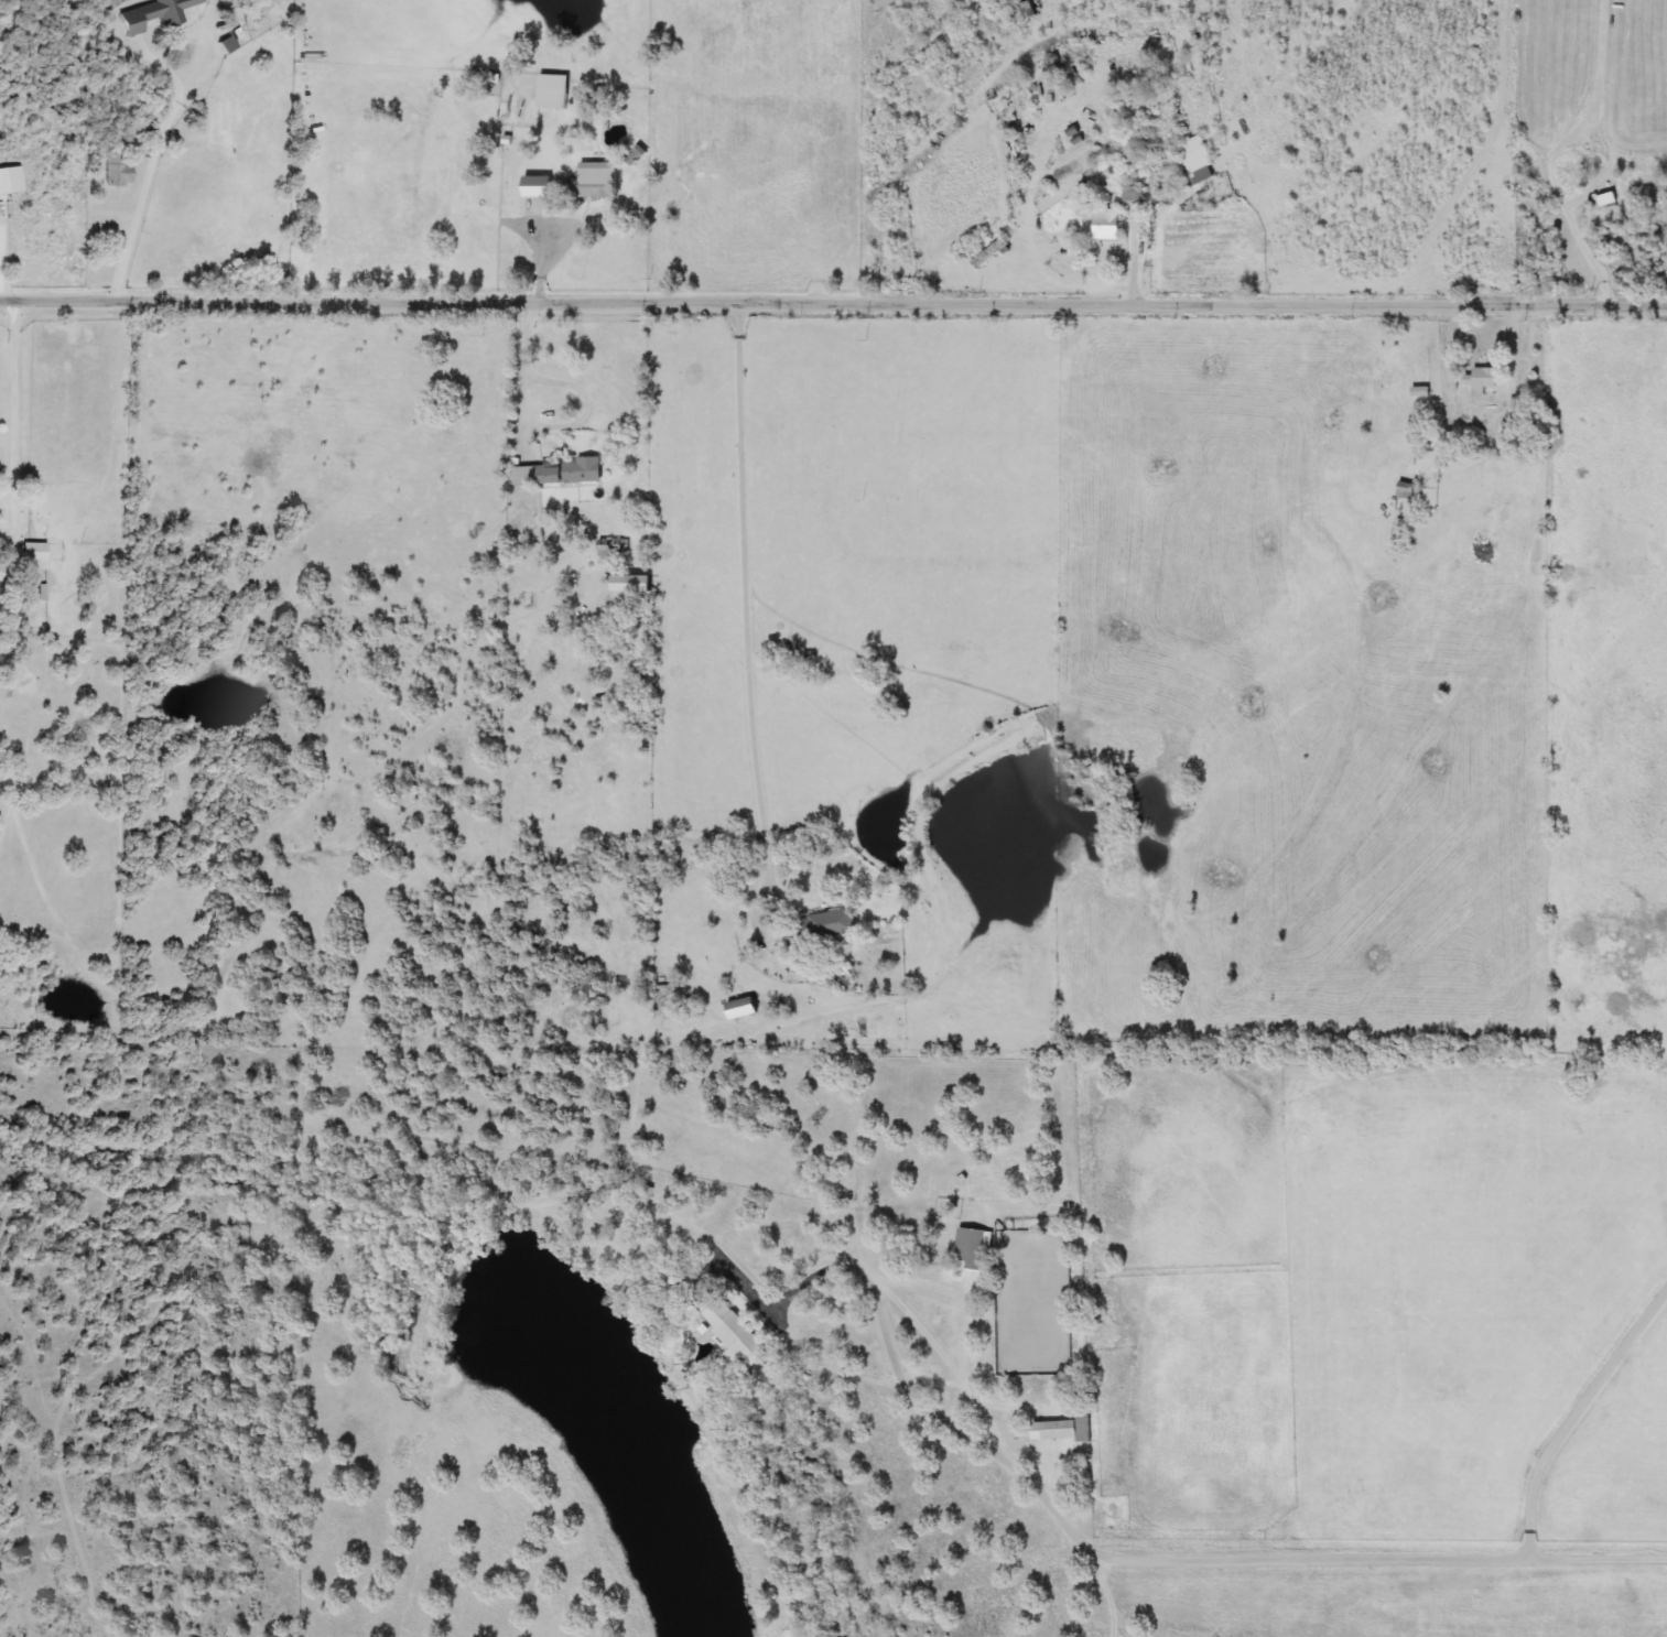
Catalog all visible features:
building: (1030, 10)
building: (155, 14)
building: (553, 91)
road: (158, 144)
building: (1198, 159)
building: (119, 170)
building: (598, 180)
building: (3, 183)
building: (535, 191)
building: (1108, 224)
road: (559, 252)
building: (992, 253)
road: (1590, 257)
road: (1043, 263)
road: (833, 303)
road: (1516, 345)
building: (1482, 377)
road: (1435, 389)
road: (18, 392)
road: (539, 426)
building: (573, 471)
building: (527, 475)
building: (34, 555)
building: (2, 572)
building: (634, 584)
road: (749, 610)
building: (826, 925)
building: (743, 1008)
building: (973, 1249)
road: (1663, 1292)
building: (734, 1336)
road: (1572, 1420)
building: (1062, 1430)
road: (1148, 1554)
road: (1111, 1595)

